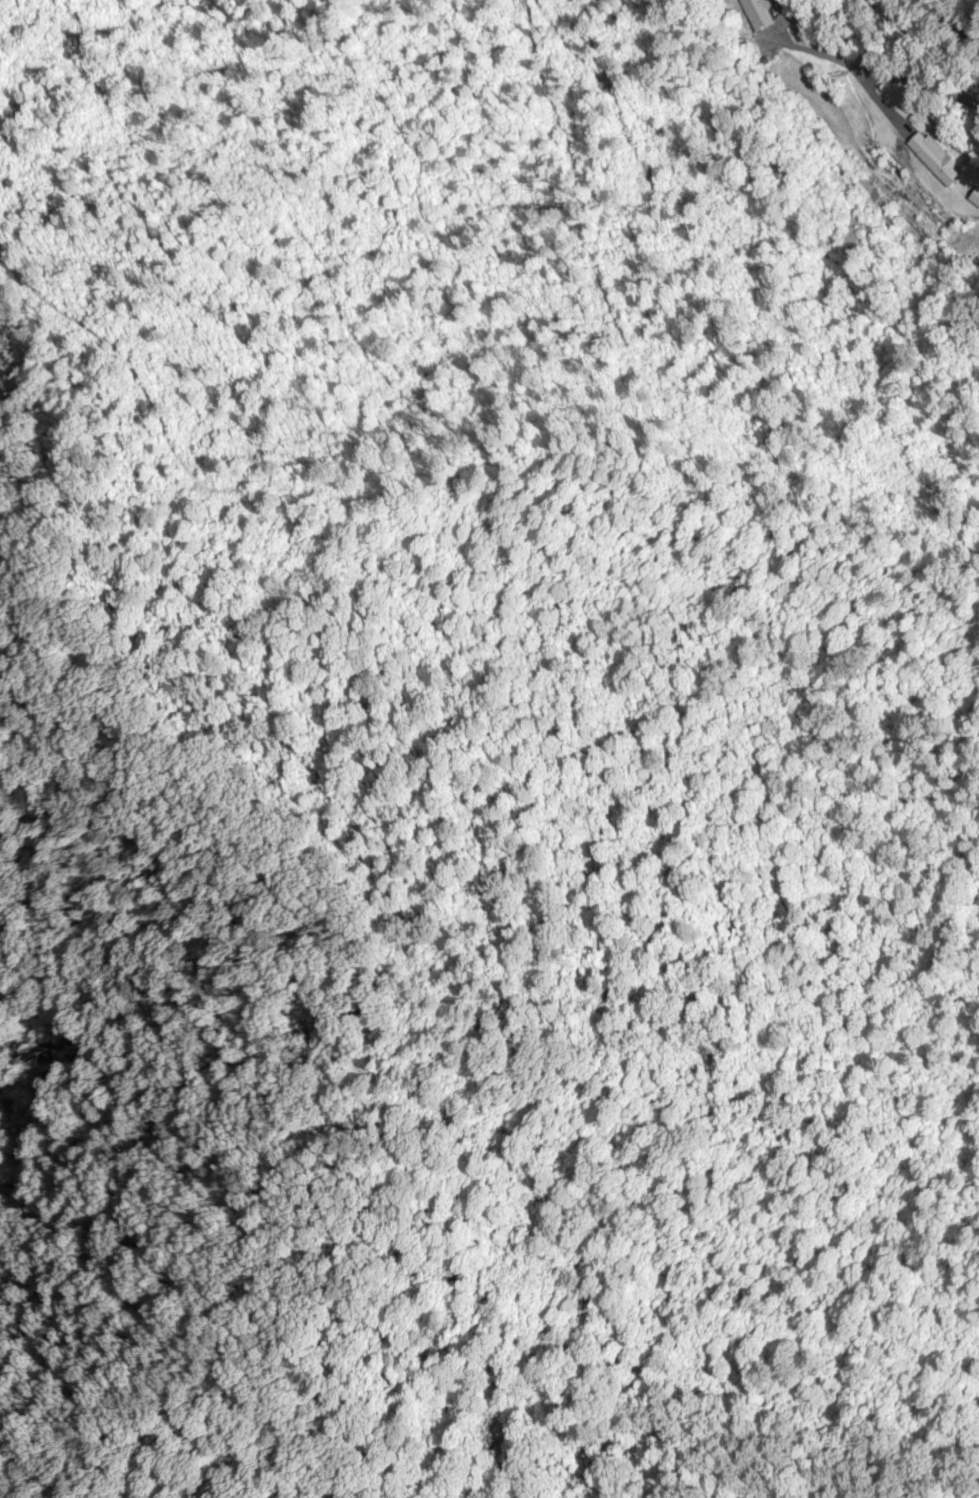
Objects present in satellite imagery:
building: (758, 12)
road: (899, 76)

